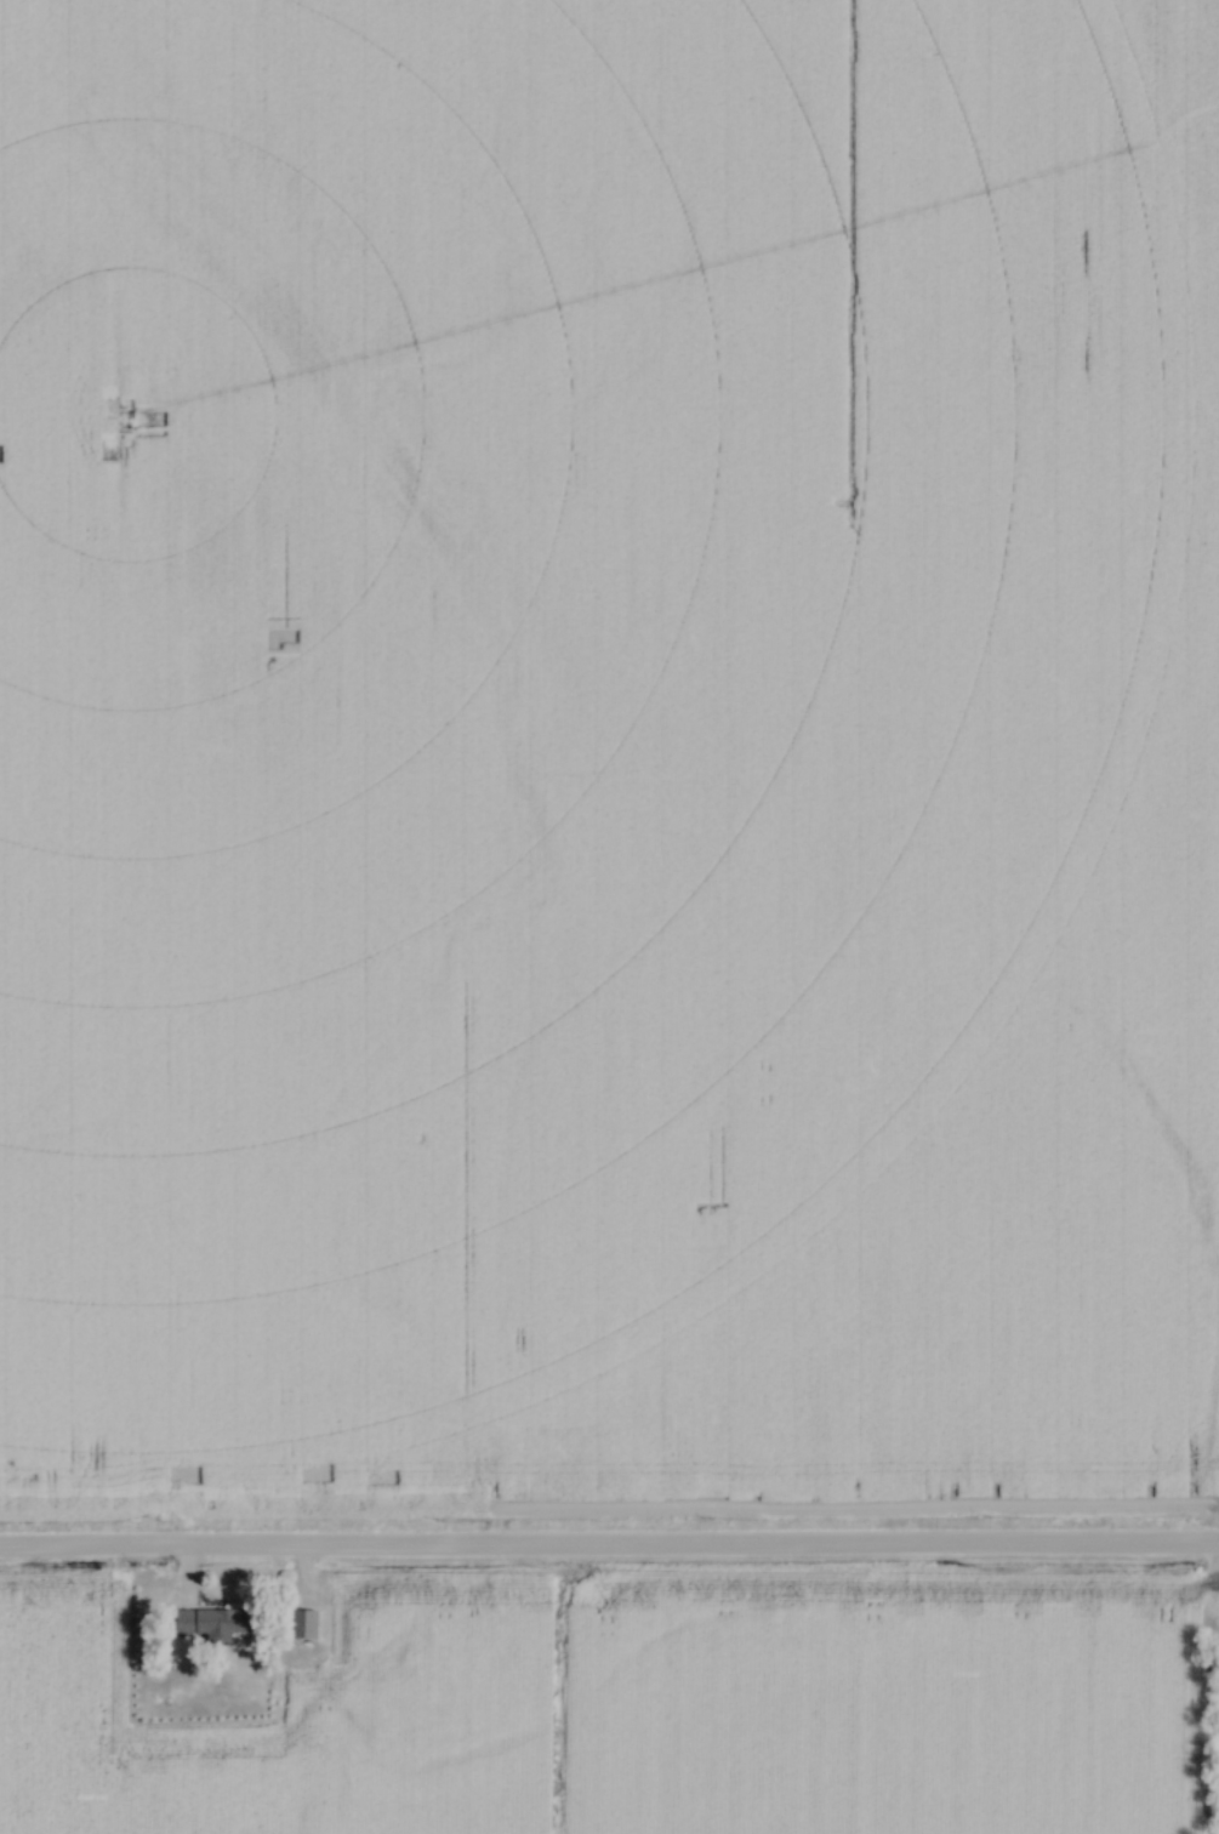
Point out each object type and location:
road: (609, 1554)
building: (306, 1622)
building: (215, 1623)

